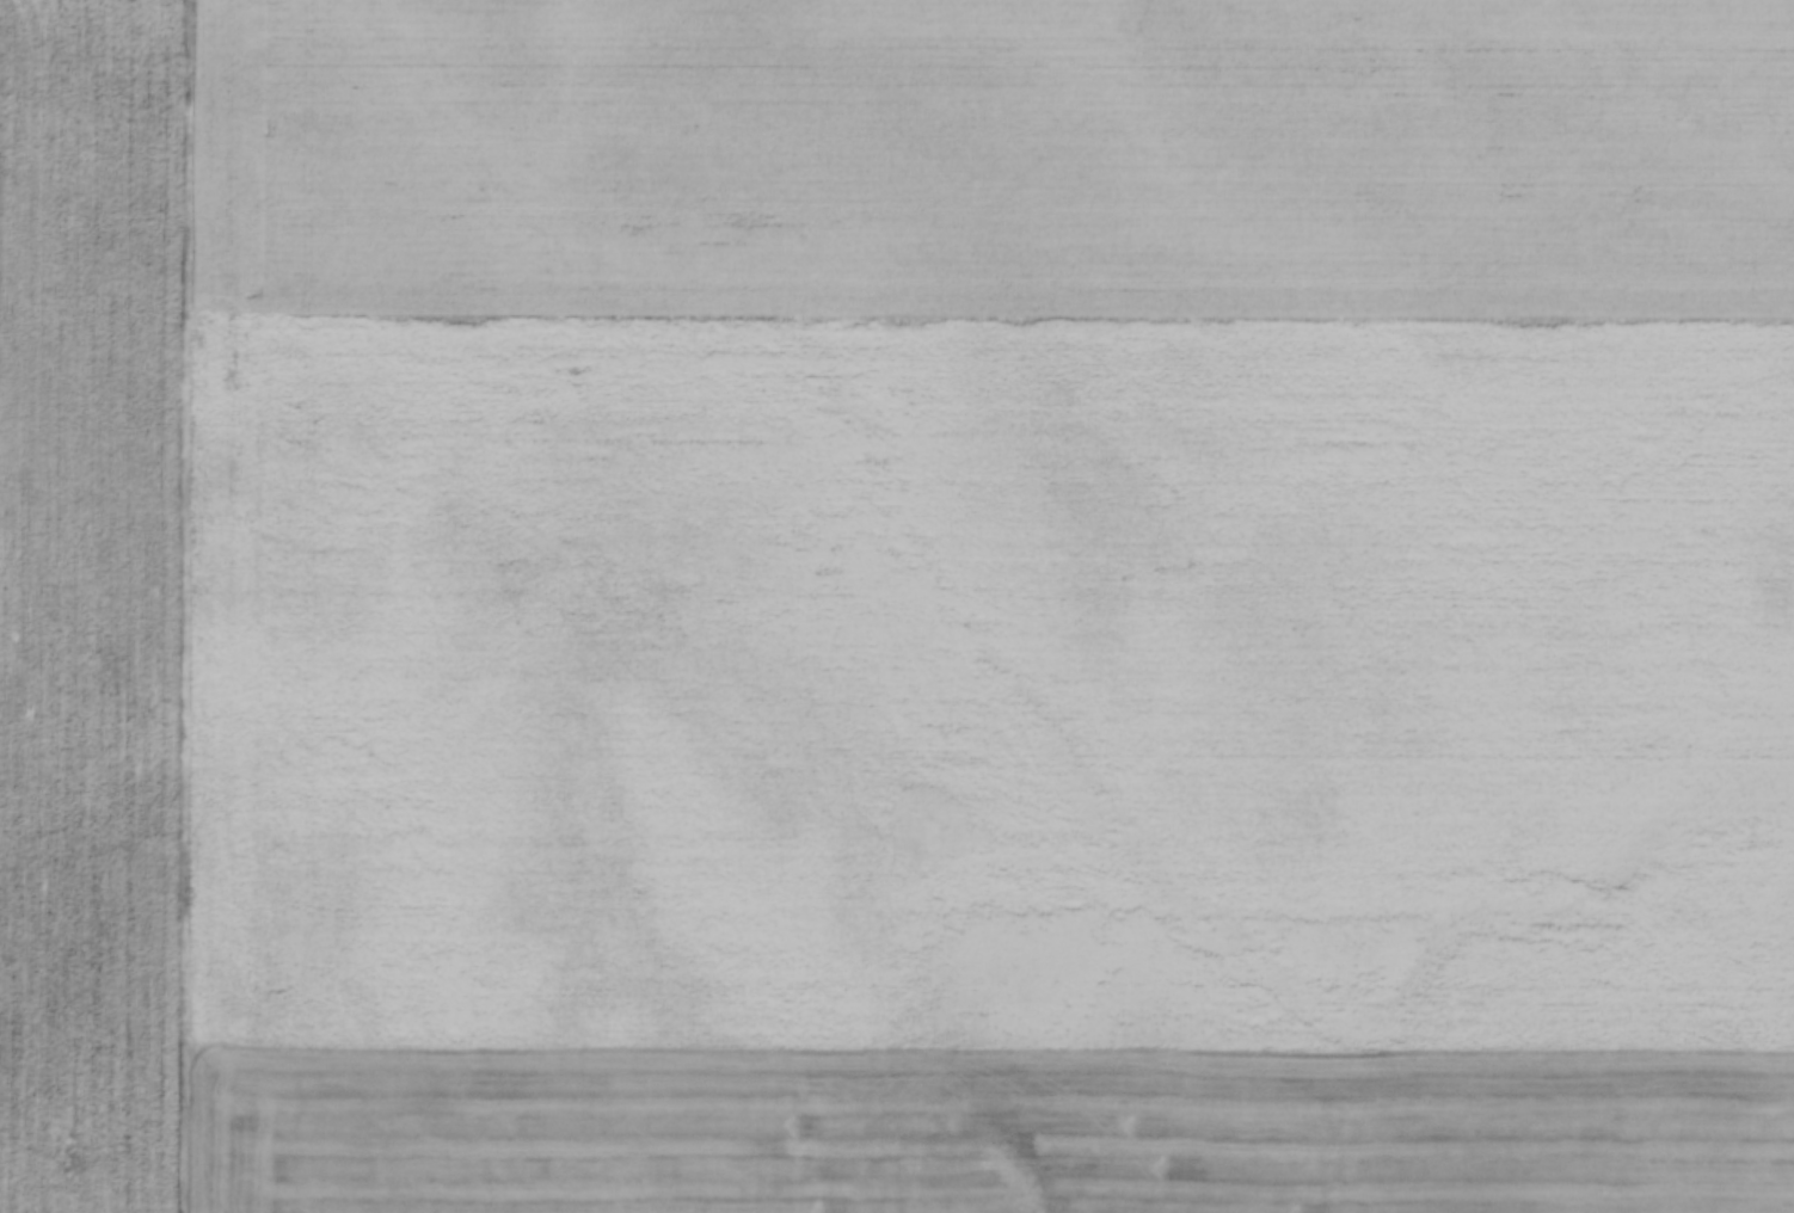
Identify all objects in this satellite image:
road: (1548, 968)

